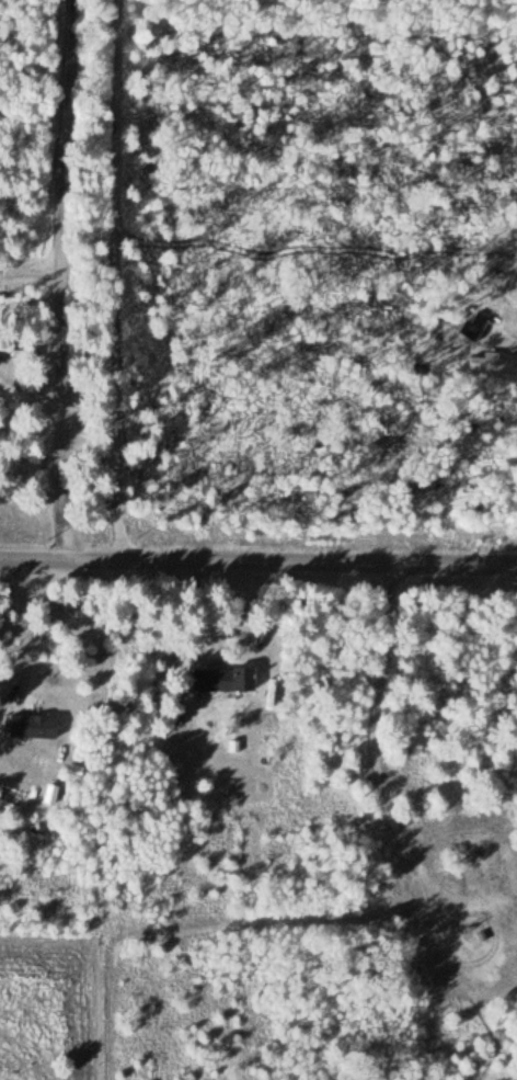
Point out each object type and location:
road: (68, 282)
building: (492, 368)
road: (257, 564)
building: (220, 679)
building: (31, 726)

